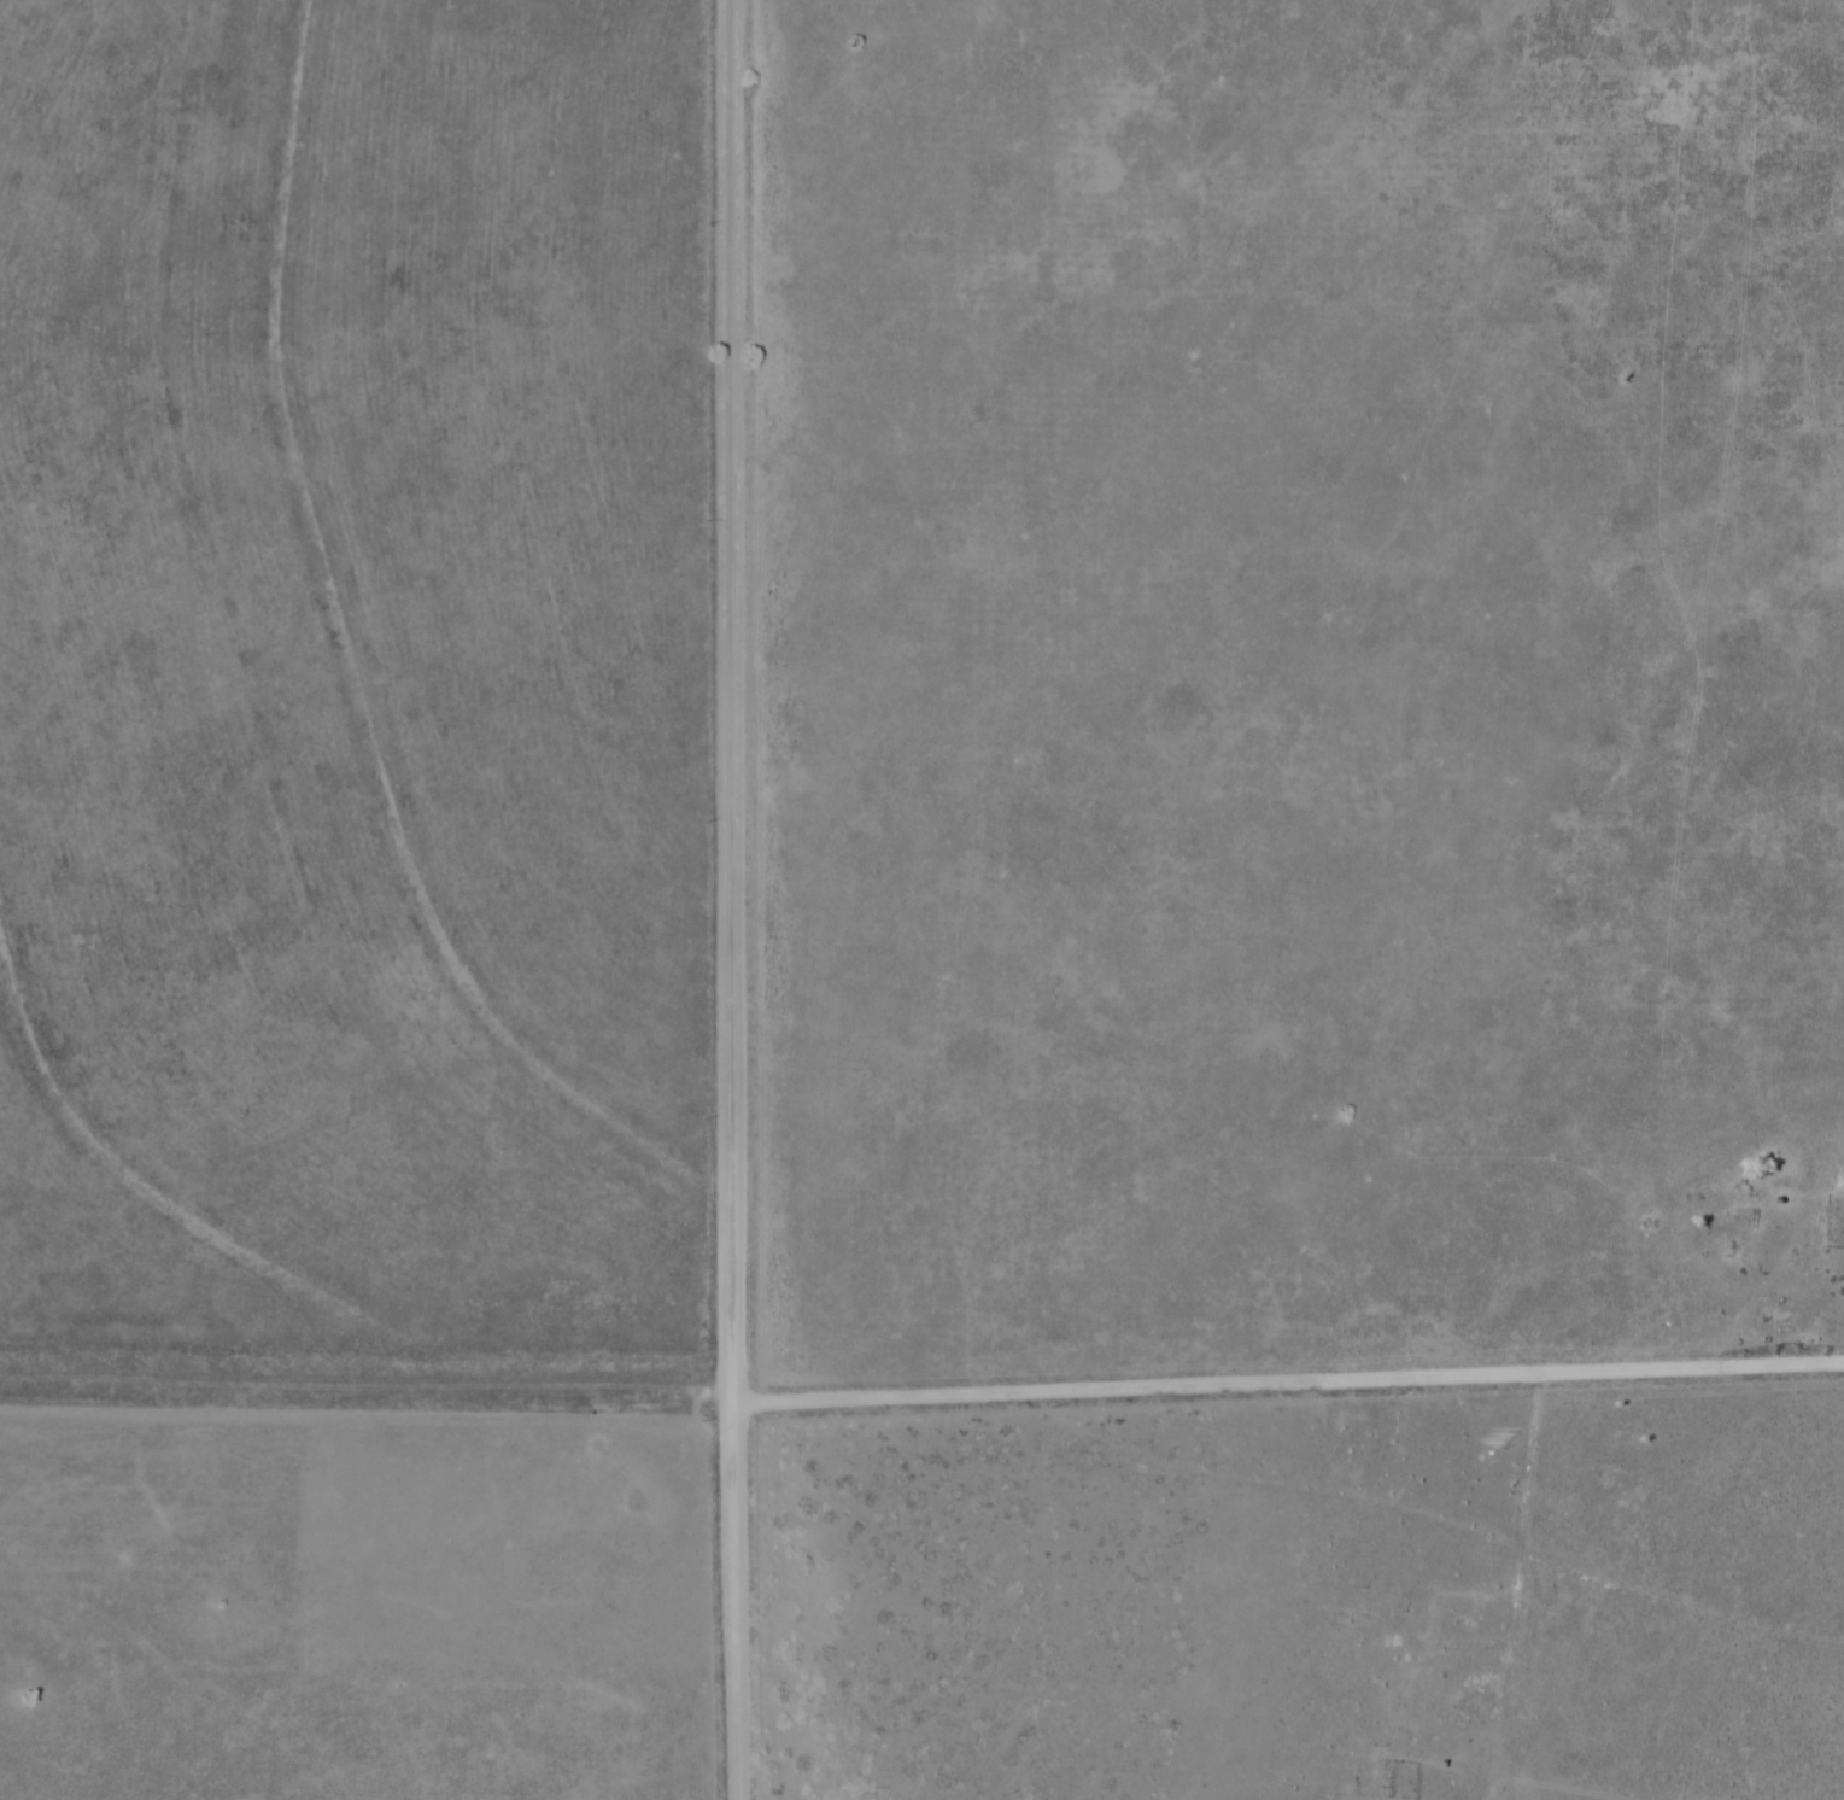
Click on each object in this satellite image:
road: (731, 900)
road: (1288, 1391)

